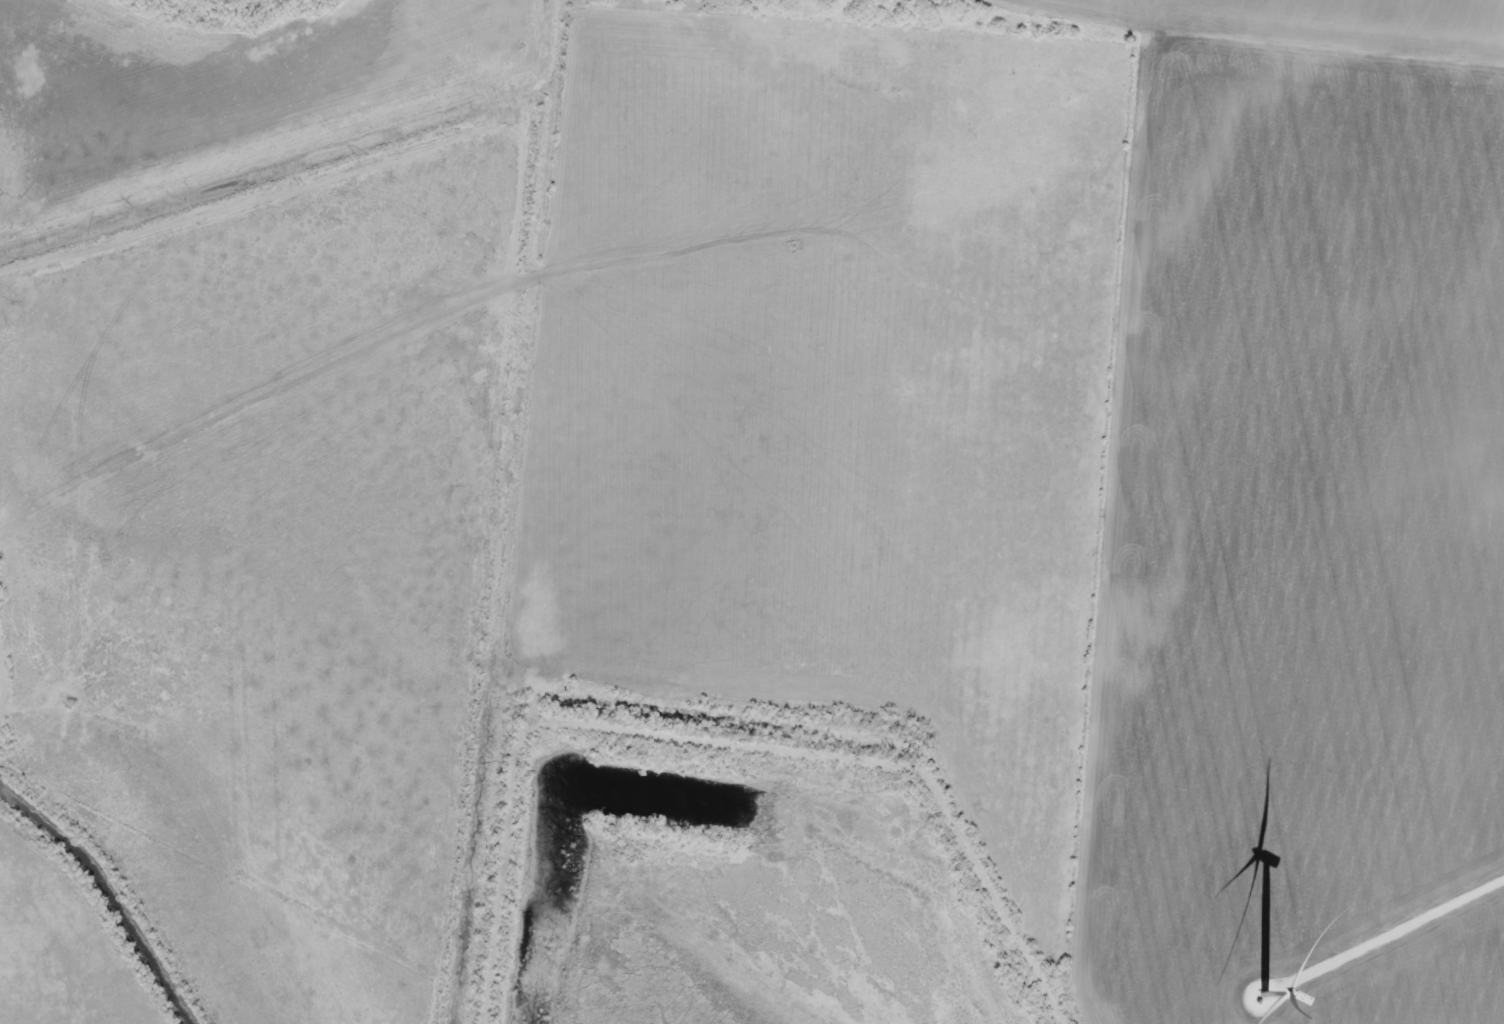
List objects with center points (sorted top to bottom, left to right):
wind turbine: (1262, 992)

